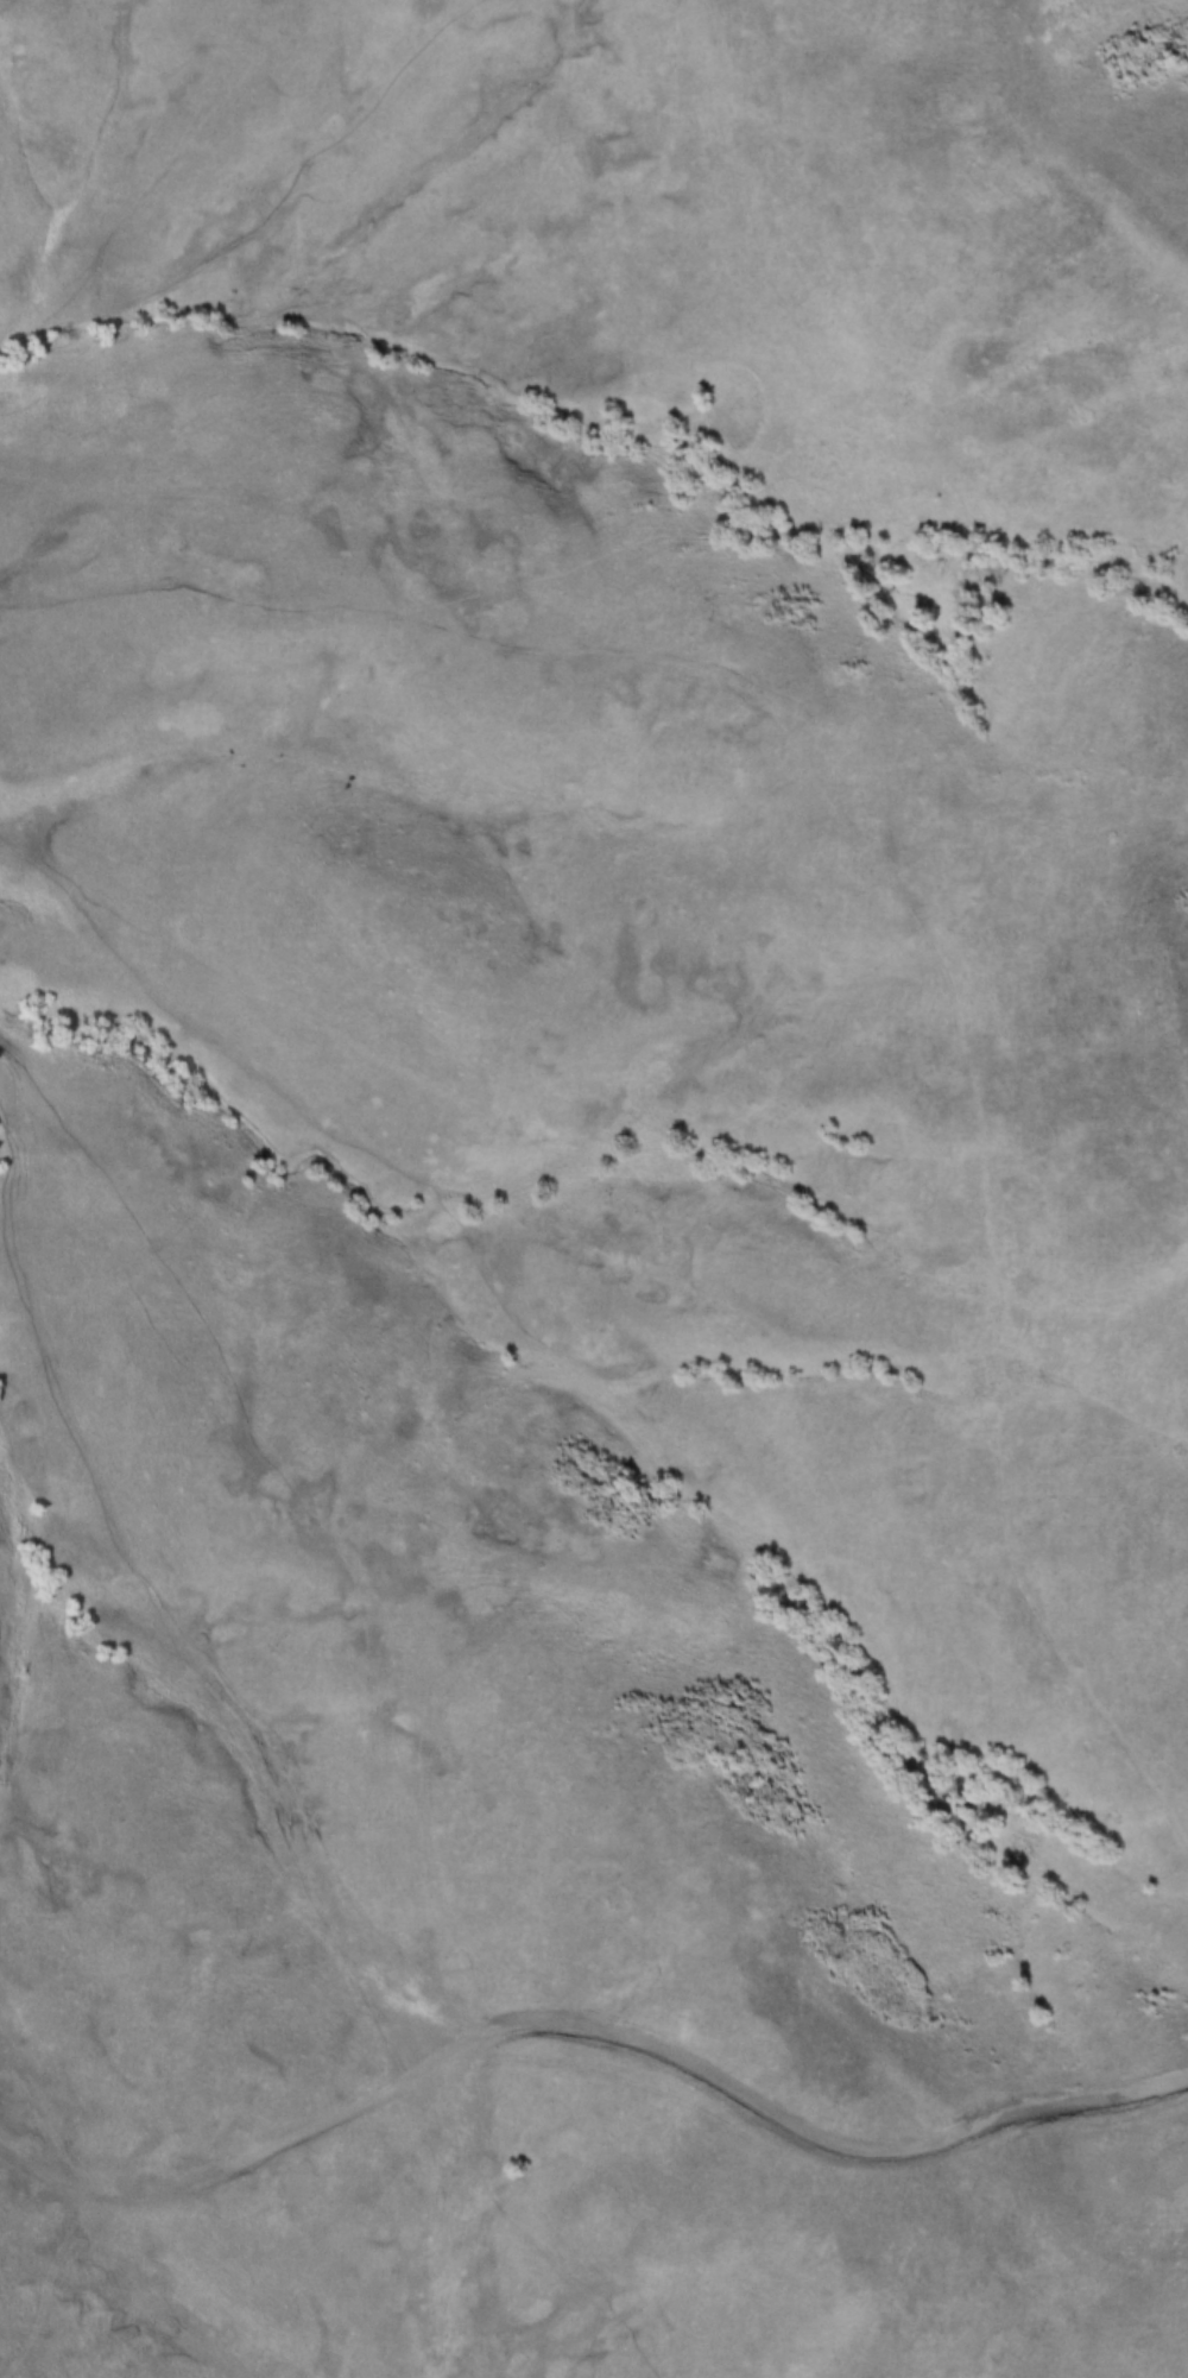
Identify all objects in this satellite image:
road: (589, 2023)

